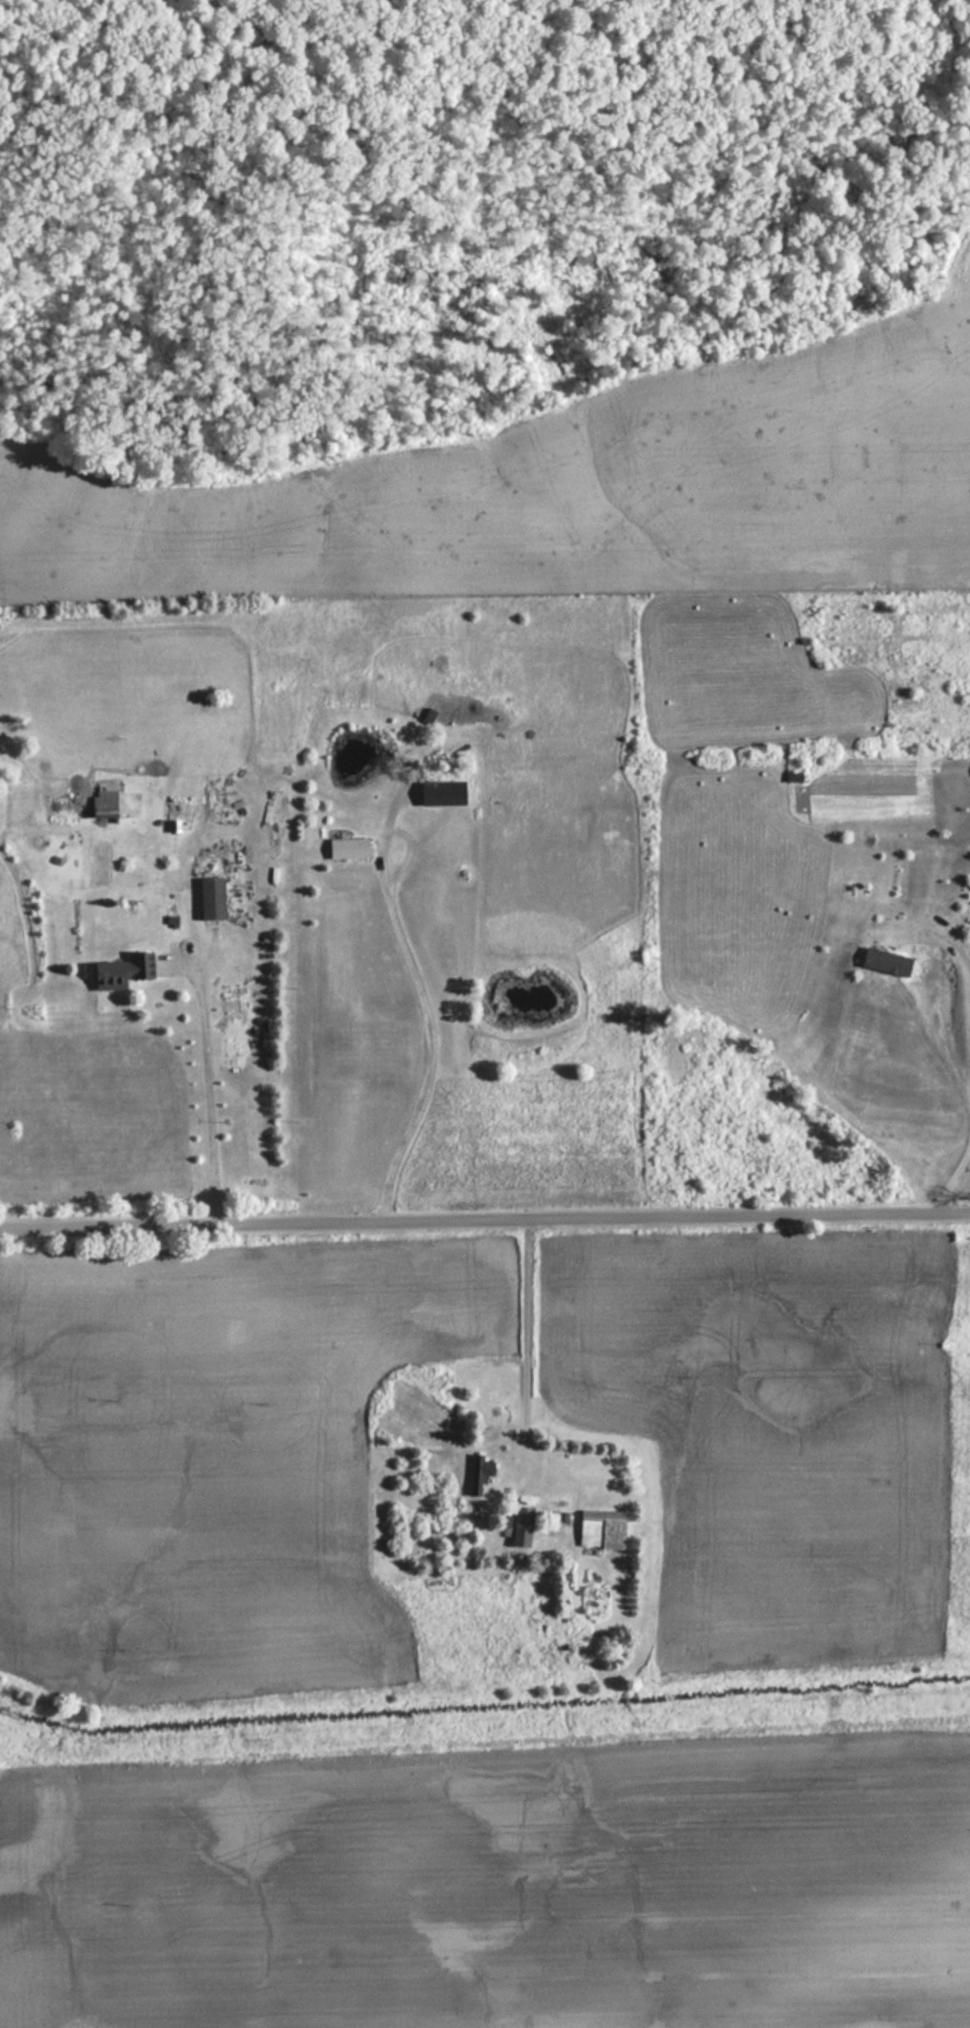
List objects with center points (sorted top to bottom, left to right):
building: (791, 777)
building: (440, 793)
building: (346, 848)
building: (209, 898)
building: (884, 963)
building: (121, 971)
road: (485, 1227)
building: (477, 1473)
building: (519, 1526)
building: (599, 1529)

